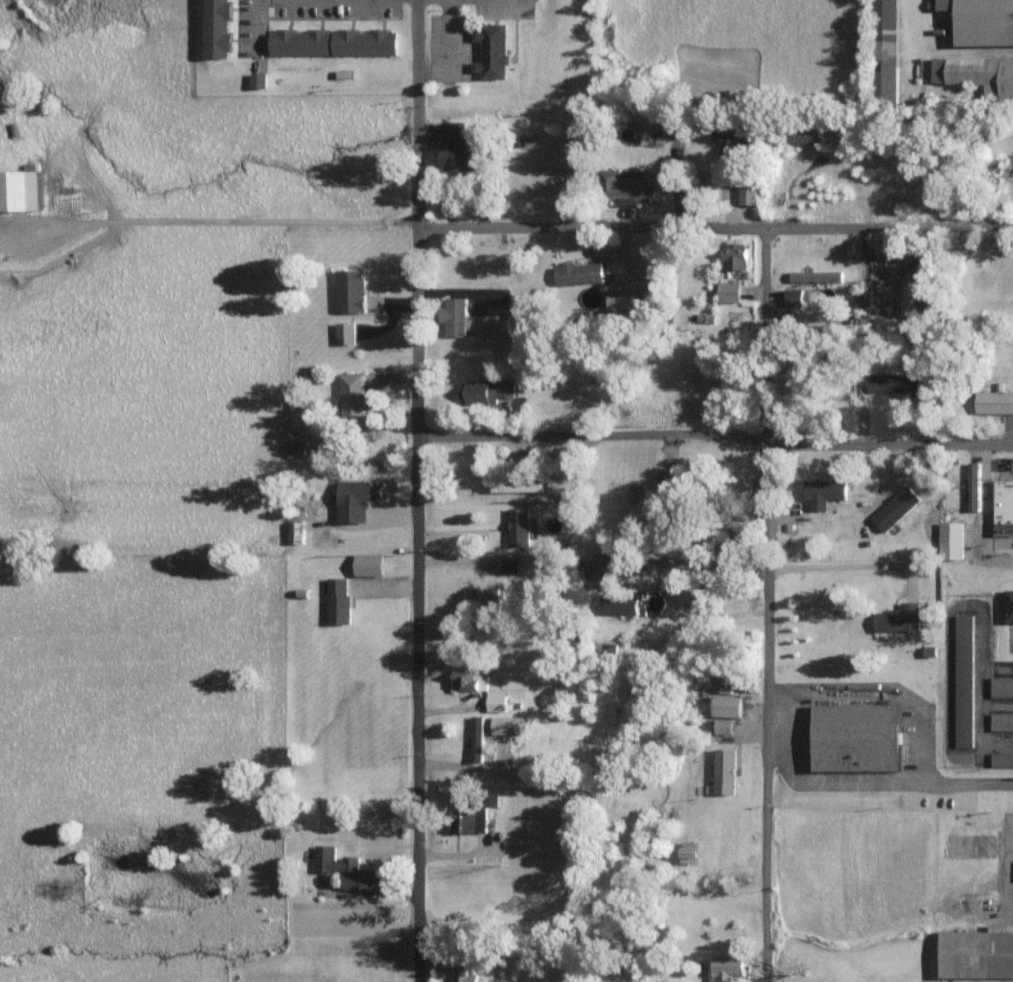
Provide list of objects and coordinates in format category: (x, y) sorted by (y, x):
building: (981, 22)
road: (260, 25)
building: (216, 28)
building: (332, 41)
building: (492, 50)
building: (884, 52)
building: (976, 74)
building: (258, 79)
building: (728, 133)
building: (803, 134)
building: (456, 149)
building: (627, 186)
building: (19, 188)
building: (747, 190)
road: (713, 226)
building: (734, 255)
building: (578, 273)
building: (816, 275)
building: (350, 290)
building: (728, 291)
building: (882, 294)
building: (793, 296)
building: (620, 301)
building: (454, 316)
building: (706, 318)
building: (496, 325)
building: (345, 332)
building: (892, 382)
building: (485, 390)
building: (352, 396)
building: (994, 401)
road: (714, 436)
building: (295, 449)
parking lot: (1012, 469)
building: (664, 481)
building: (516, 485)
building: (974, 485)
building: (824, 489)
road: (416, 490)
building: (356, 499)
building: (896, 508)
building: (1005, 508)
building: (518, 526)
building: (296, 532)
building: (951, 540)
building: (368, 564)
building: (509, 566)
road: (847, 569)
building: (602, 570)
building: (337, 600)
building: (618, 603)
road: (767, 604)
building: (1009, 606)
building: (898, 618)
parking lot: (1010, 638)
building: (465, 680)
building: (964, 680)
building: (1001, 686)
building: (496, 700)
road: (798, 700)
building: (726, 706)
building: (1002, 721)
building: (507, 725)
building: (856, 737)
building: (477, 738)
building: (1001, 759)
building: (724, 771)
road: (967, 783)
parking lot: (1008, 817)
building: (466, 821)
building: (688, 852)
building: (348, 870)
building: (978, 954)
building: (722, 968)
building: (463, 975)

